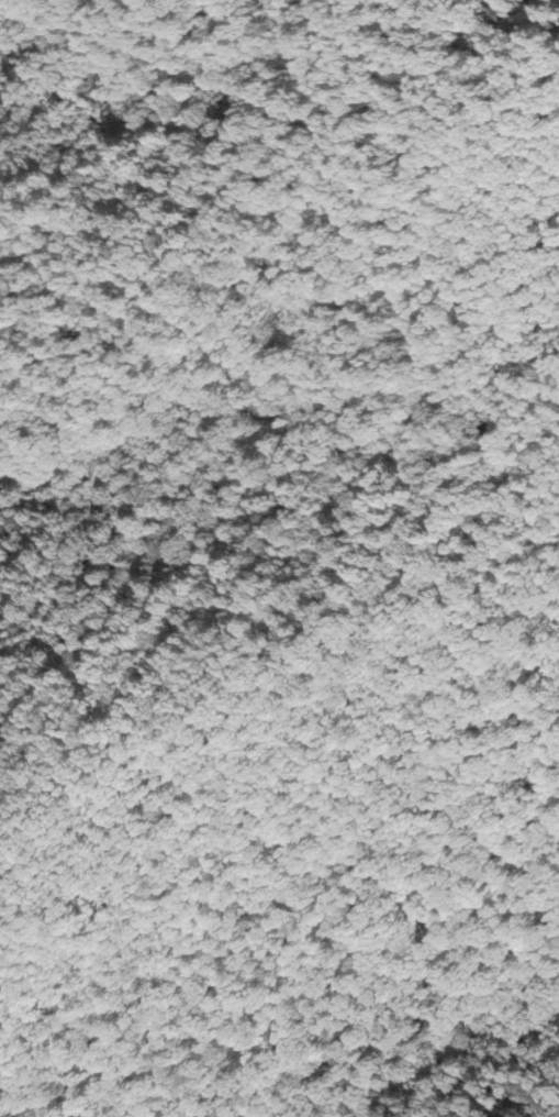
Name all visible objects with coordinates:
road: (297, 126)
road: (476, 331)
road: (429, 423)

